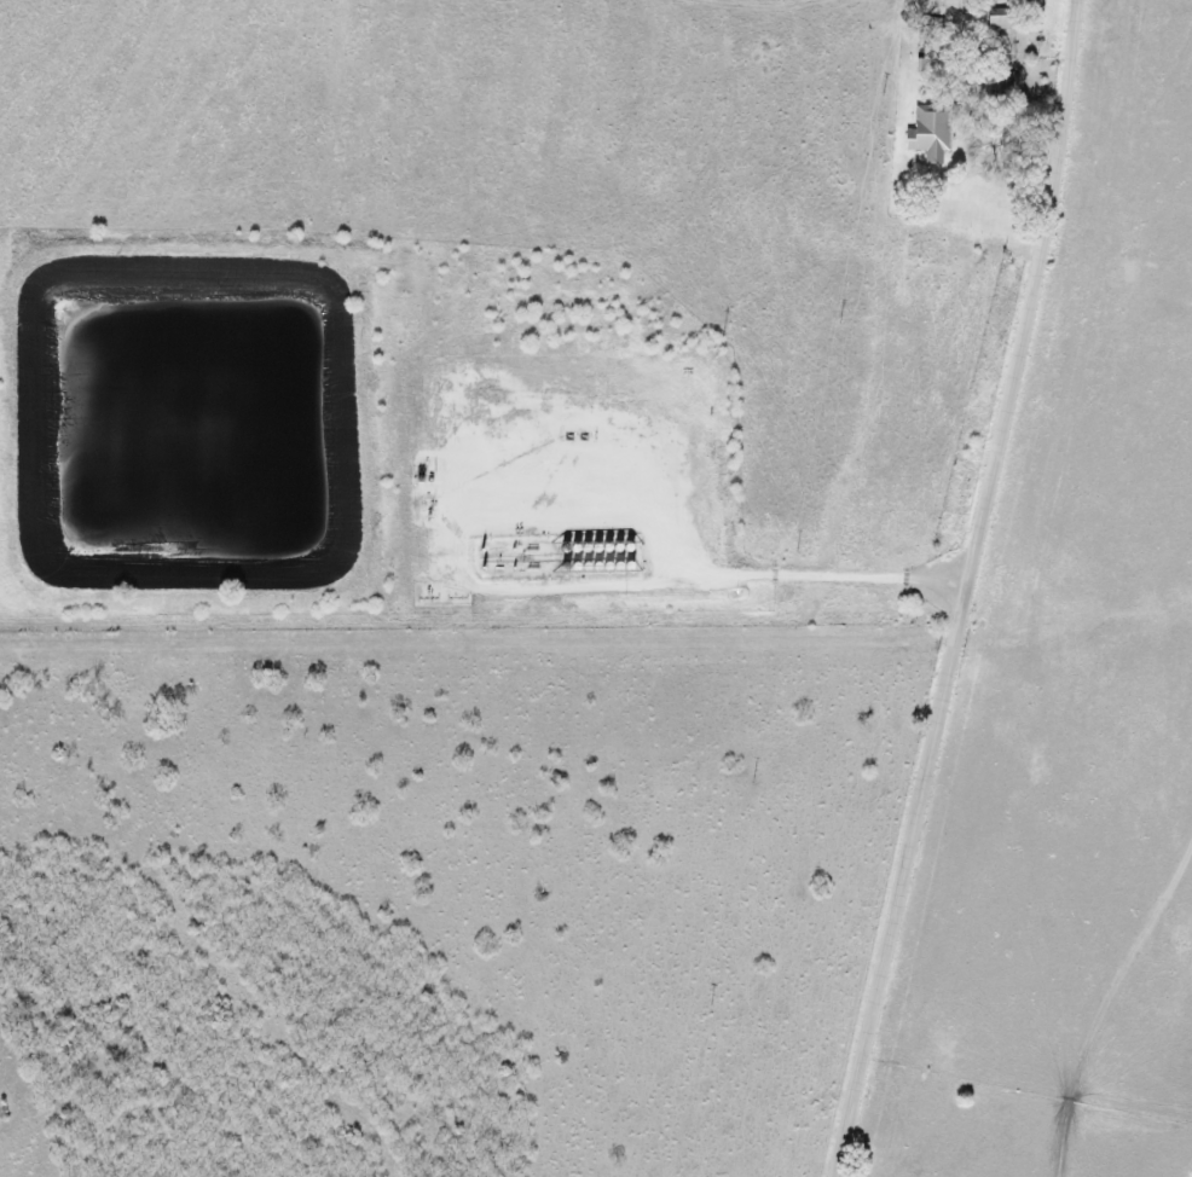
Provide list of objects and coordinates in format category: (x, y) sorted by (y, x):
building: (925, 133)
petroleum well: (575, 443)
road: (793, 578)
road: (971, 590)

